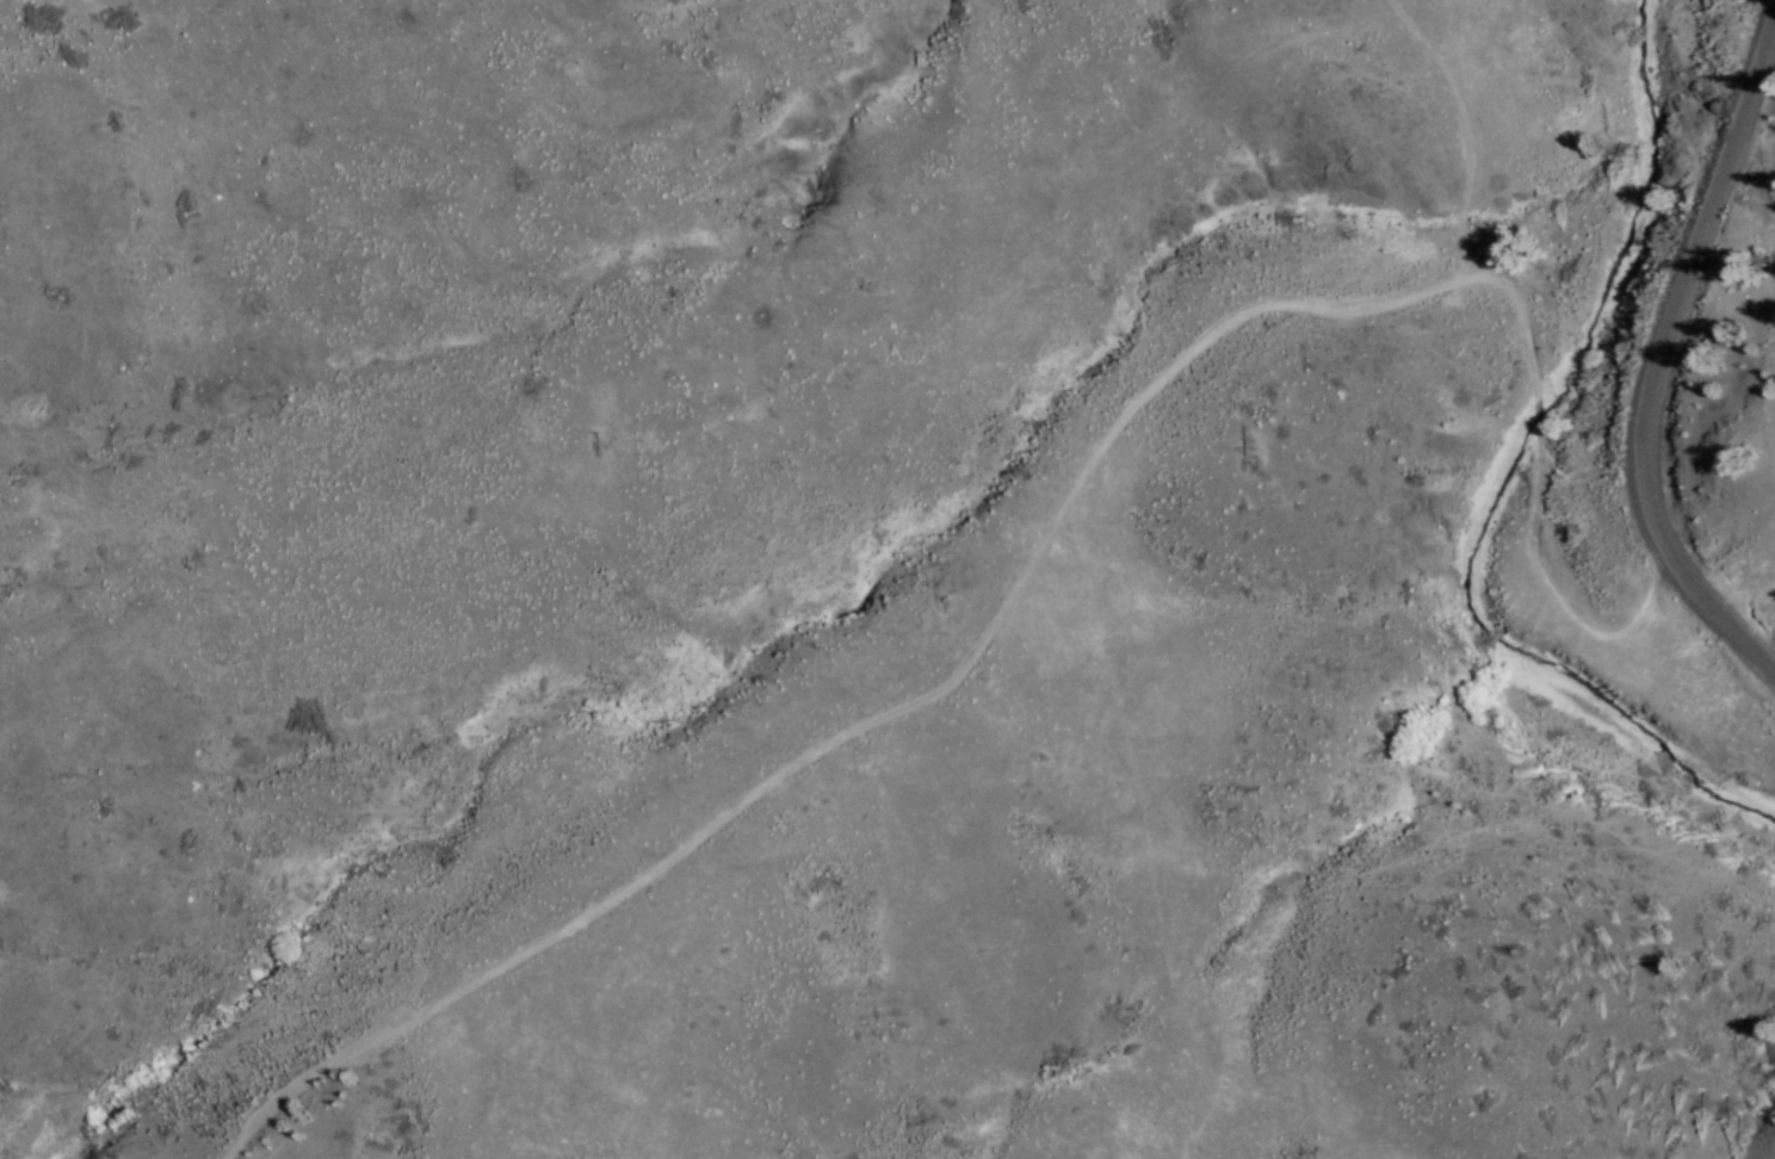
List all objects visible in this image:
road: (1659, 333)

